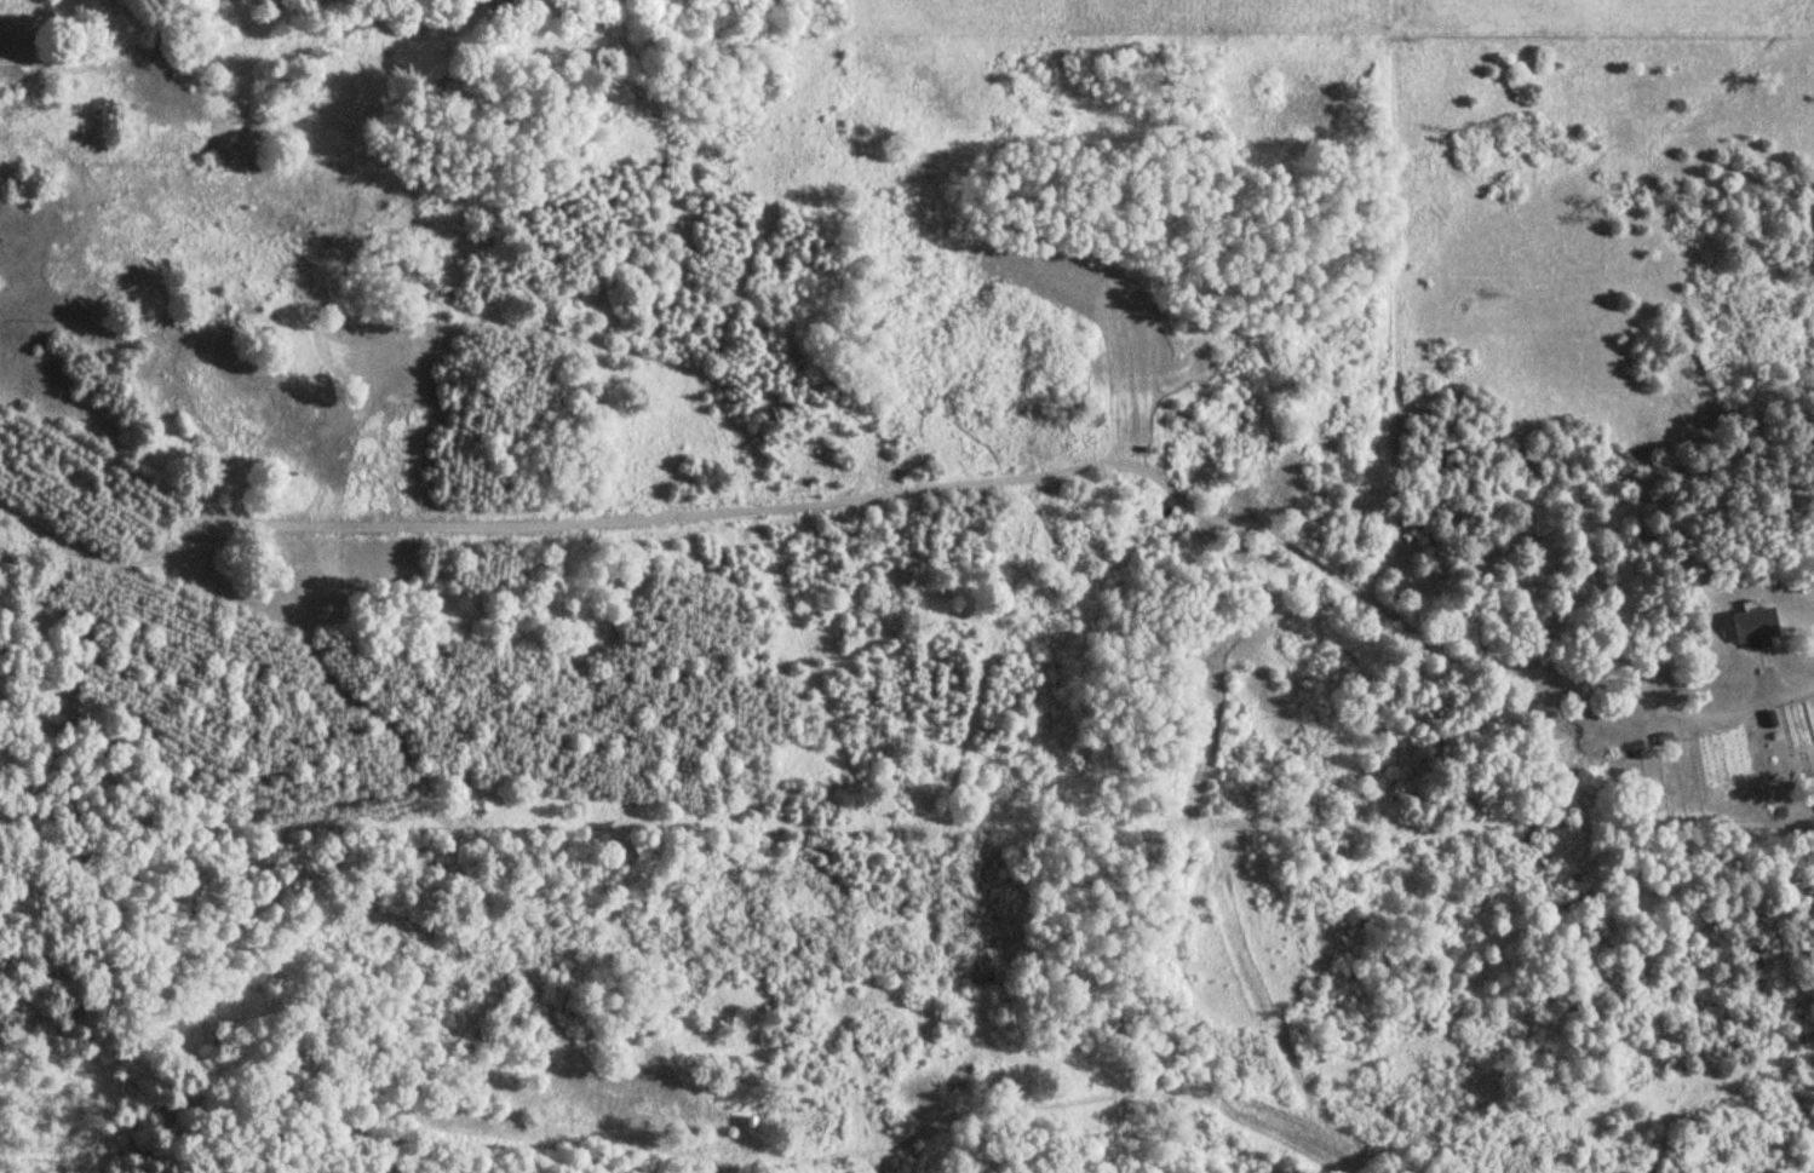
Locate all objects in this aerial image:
road: (888, 495)
road: (1774, 701)

